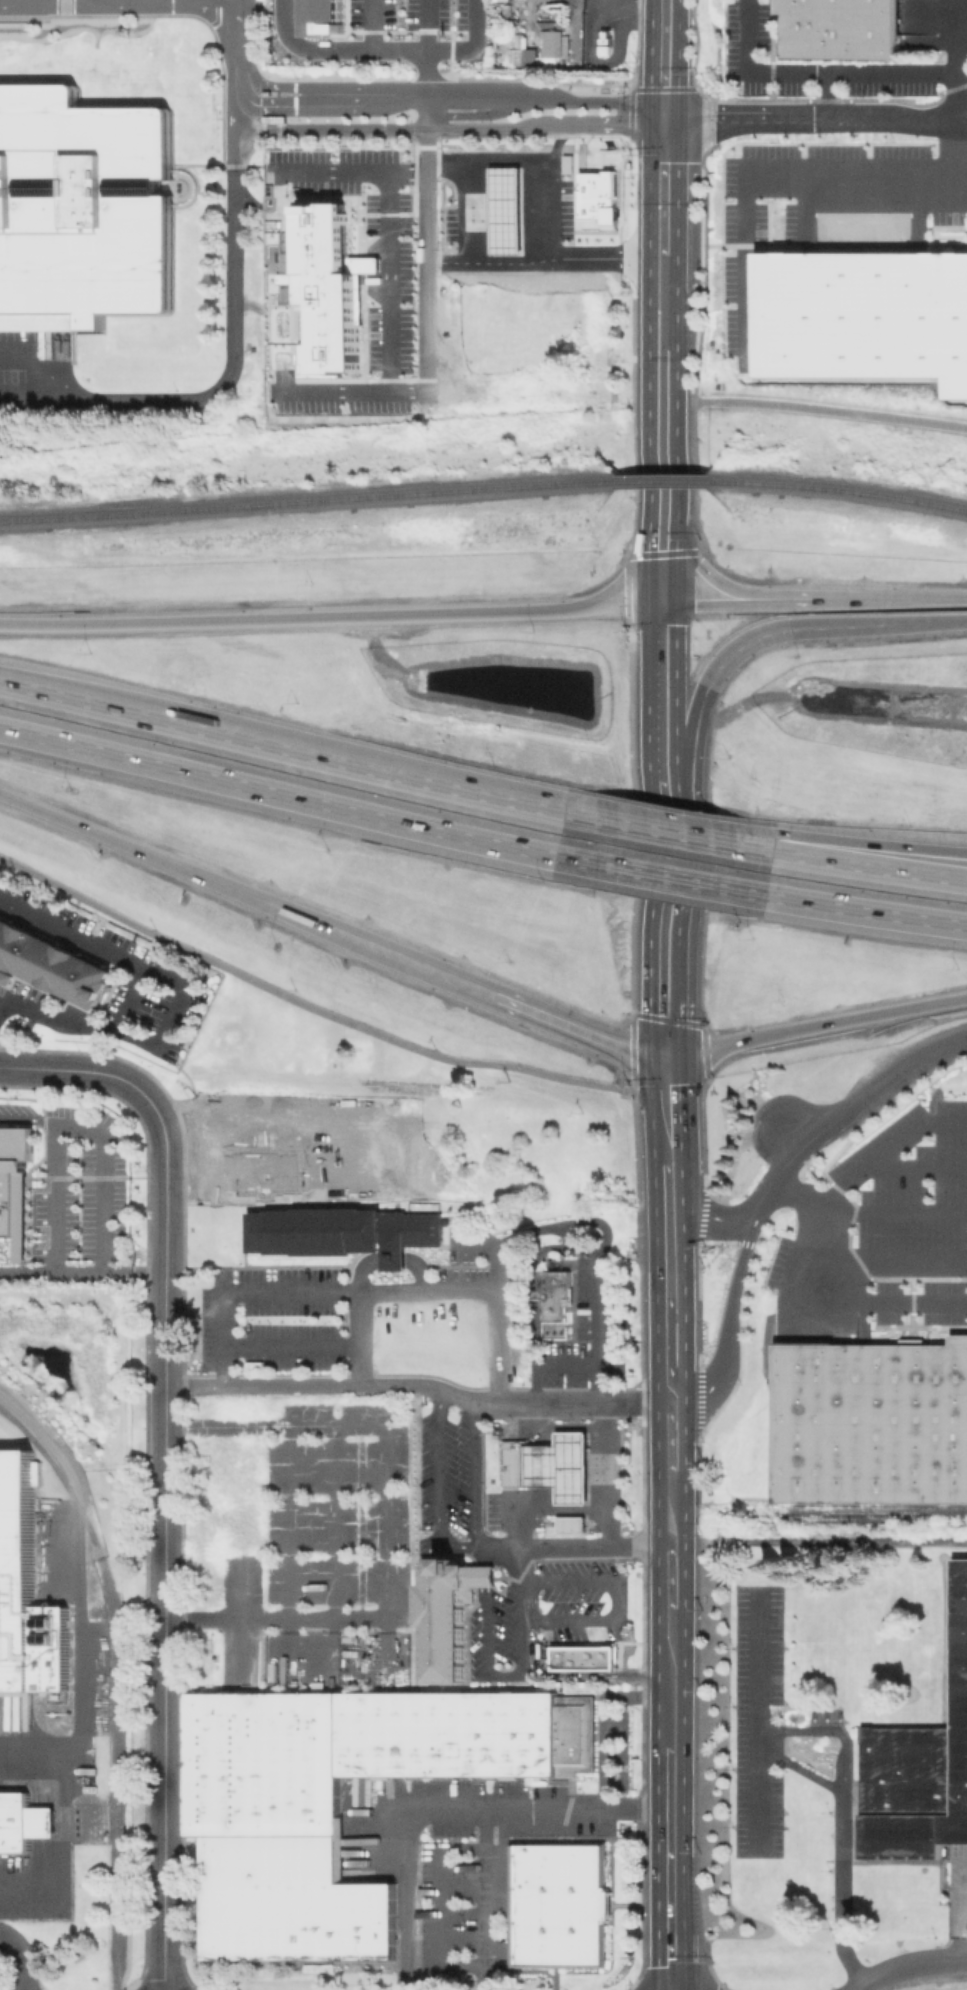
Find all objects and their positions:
road: (232, 0)
road: (81, 1)
road: (184, 1)
road: (63, 7)
parking lot: (119, 8)
building: (323, 20)
road: (372, 24)
building: (839, 28)
building: (555, 41)
road: (468, 44)
road: (359, 49)
building: (517, 53)
road: (663, 56)
road: (425, 71)
road: (817, 73)
road: (962, 89)
road: (334, 94)
road: (485, 94)
road: (707, 100)
road: (603, 103)
road: (428, 105)
traffic signals: (663, 114)
road: (476, 116)
road: (872, 117)
road: (628, 125)
road: (334, 129)
road: (510, 129)
road: (957, 155)
road: (507, 159)
road: (351, 172)
road: (663, 184)
building: (601, 197)
road: (772, 198)
building: (81, 208)
road: (544, 209)
road: (473, 210)
building: (507, 211)
road: (724, 244)
road: (545, 259)
road: (662, 273)
road: (705, 274)
road: (390, 281)
building: (322, 289)
building: (865, 318)
road: (428, 329)
road: (231, 372)
road: (662, 393)
road: (831, 409)
road: (692, 476)
railway: (663, 480)
railway: (842, 489)
railway: (304, 502)
road: (661, 523)
road: (629, 555)
road: (692, 559)
road: (661, 580)
road: (888, 598)
road: (782, 599)
road: (708, 605)
traffic signals: (661, 606)
road: (330, 618)
road: (926, 623)
road: (699, 710)
road: (308, 754)
road: (661, 769)
road: (307, 799)
road: (632, 817)
road: (667, 832)
road: (842, 846)
road: (841, 860)
road: (168, 864)
road: (665, 877)
road: (840, 905)
road: (376, 948)
building: (52, 964)
building: (4, 977)
road: (662, 994)
road: (131, 999)
road: (186, 1004)
road: (306, 1005)
road: (538, 1014)
road: (679, 1021)
road: (814, 1025)
road: (633, 1052)
traffic signals: (663, 1056)
road: (905, 1068)
road: (107, 1074)
road: (664, 1095)
road: (649, 1112)
road: (792, 1136)
road: (796, 1150)
road: (889, 1159)
road: (684, 1163)
road: (108, 1180)
building: (16, 1182)
road: (894, 1216)
road: (719, 1218)
road: (55, 1220)
building: (346, 1231)
road: (586, 1250)
road: (669, 1262)
road: (829, 1291)
road: (370, 1293)
building: (557, 1297)
road: (729, 1305)
road: (367, 1338)
road: (552, 1366)
road: (412, 1384)
building: (871, 1423)
road: (684, 1427)
road: (657, 1438)
building: (547, 1465)
road: (671, 1465)
road: (474, 1477)
road: (438, 1489)
railway: (876, 1520)
road: (392, 1522)
building: (569, 1523)
railway: (845, 1540)
road: (572, 1547)
road: (522, 1564)
road: (165, 1572)
building: (18, 1574)
road: (672, 1597)
building: (446, 1615)
road: (612, 1616)
building: (53, 1654)
building: (582, 1657)
railway: (117, 1680)
parking lot: (755, 1718)
road: (757, 1718)
building: (577, 1734)
road: (603, 1754)
road: (799, 1769)
building: (921, 1773)
road: (683, 1795)
building: (329, 1803)
road: (420, 1812)
road: (839, 1819)
building: (23, 1822)
road: (658, 1868)
road: (483, 1900)
road: (958, 1903)
building: (557, 1904)
road: (957, 1937)
road: (21, 1955)
road: (683, 1962)
road: (907, 1964)

